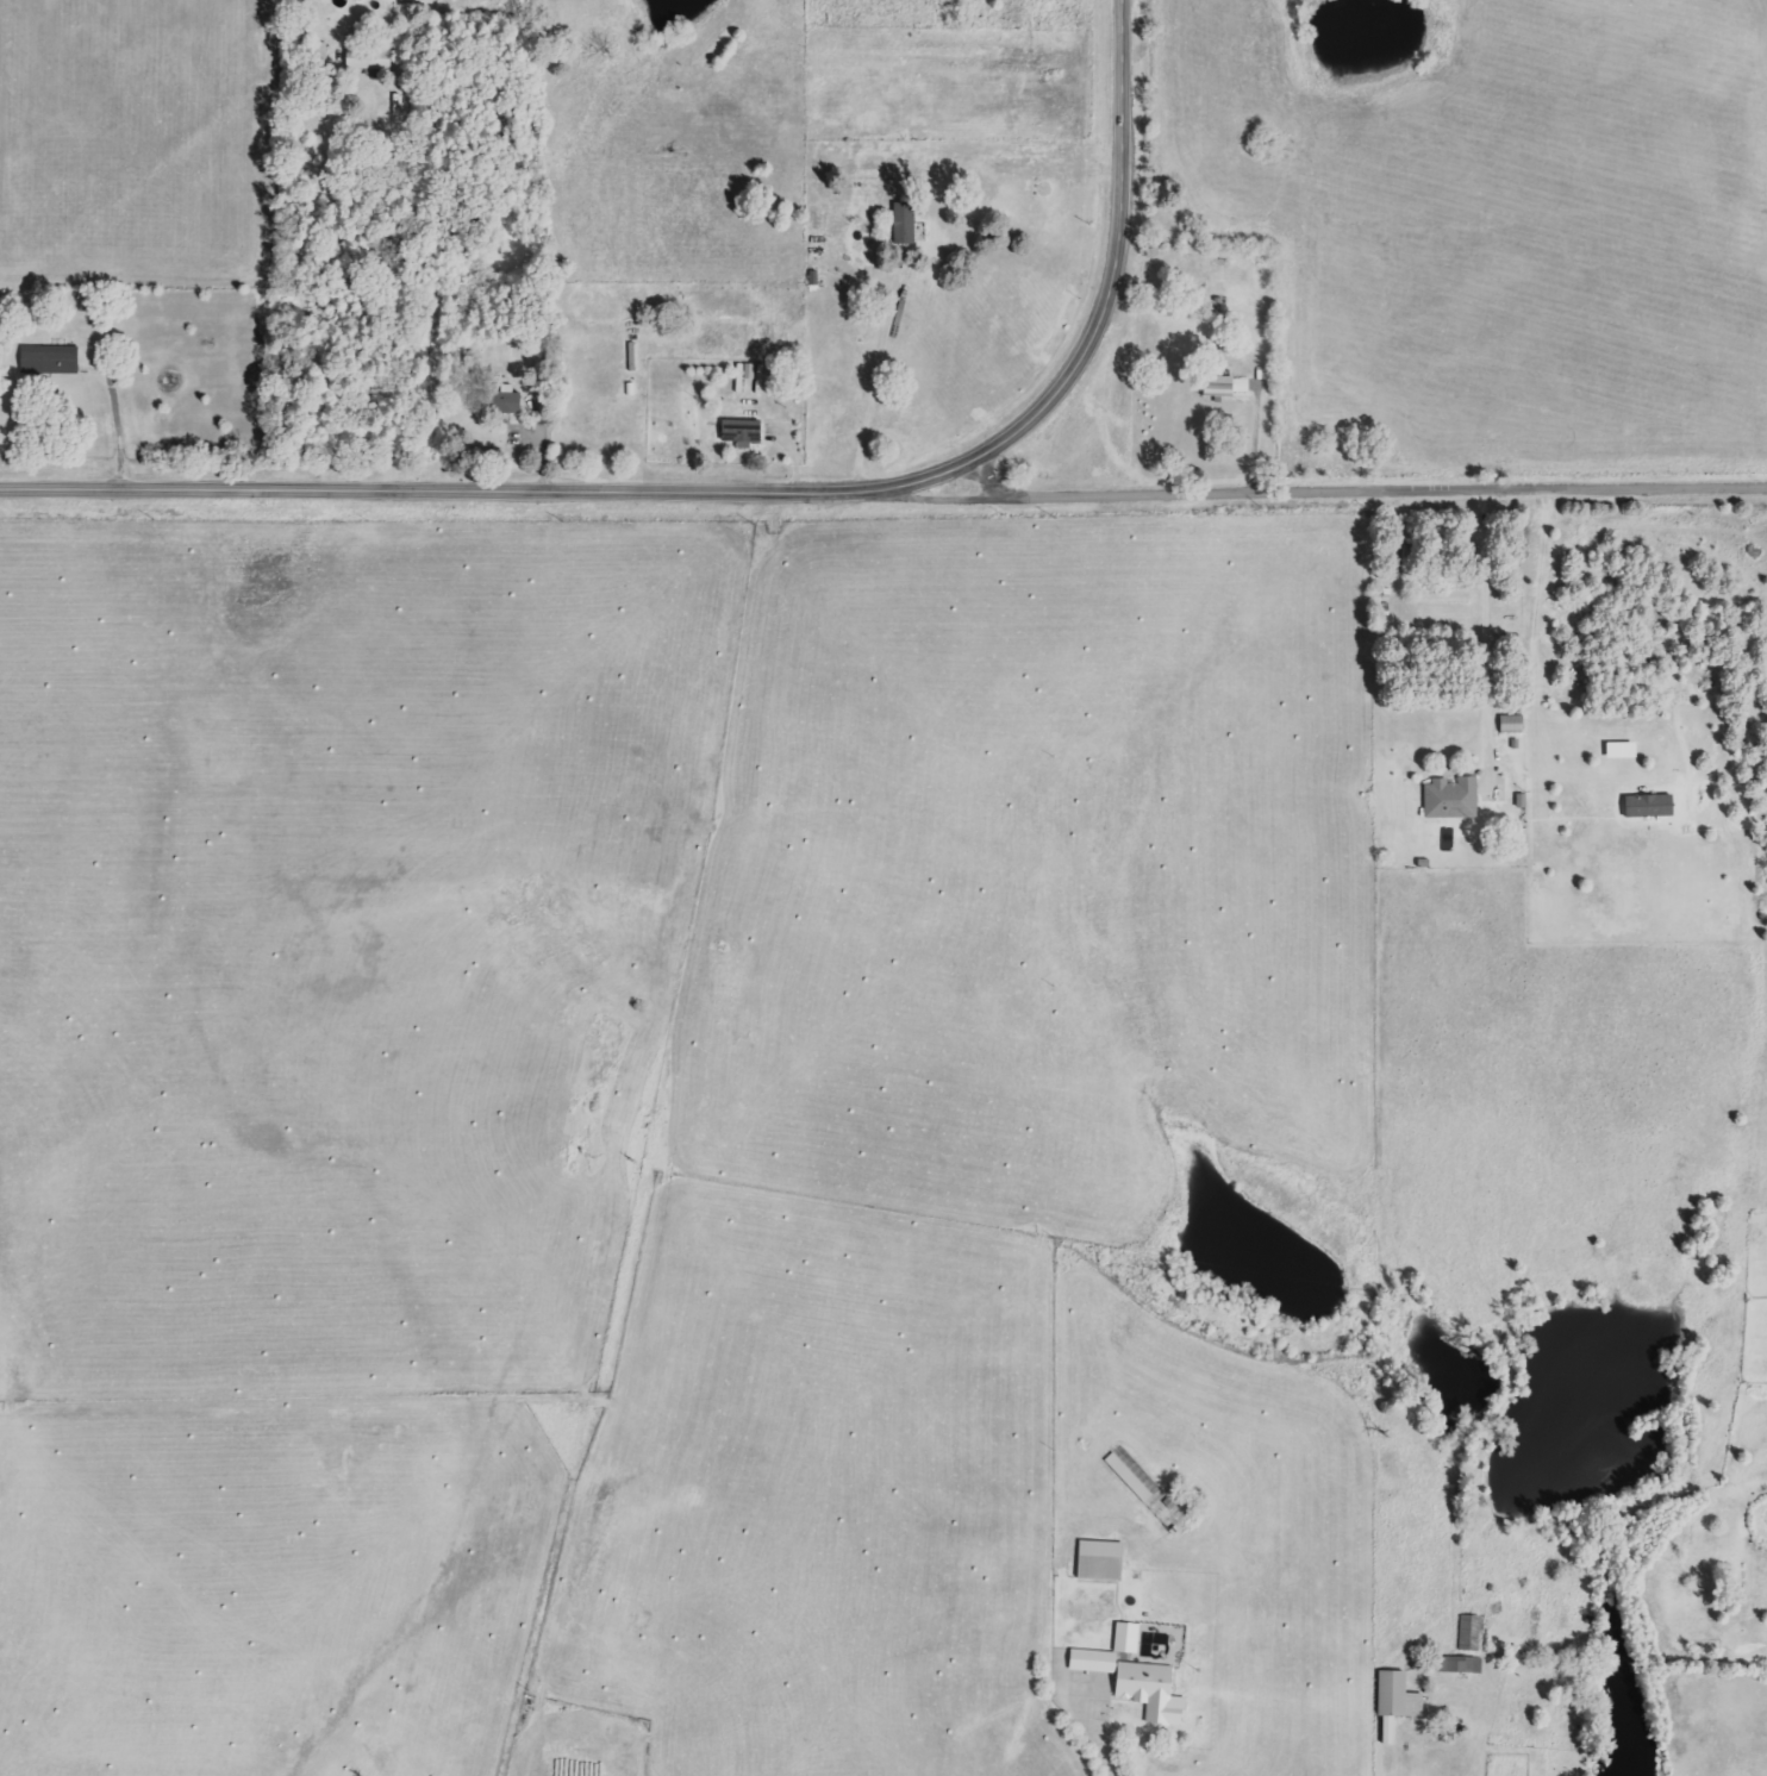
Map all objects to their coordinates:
building: (904, 224)
road: (307, 315)
building: (49, 359)
road: (879, 375)
building: (1224, 386)
building: (508, 400)
road: (117, 419)
building: (741, 432)
road: (1357, 483)
road: (743, 488)
road: (1542, 587)
road: (1486, 624)
building: (1511, 724)
building: (1621, 751)
building: (1450, 799)
building: (1099, 1559)
building: (1125, 1637)
building: (1465, 1647)
building: (1092, 1661)
building: (1150, 1691)
building: (1394, 1702)
road: (1089, 1733)
road: (1373, 1763)

